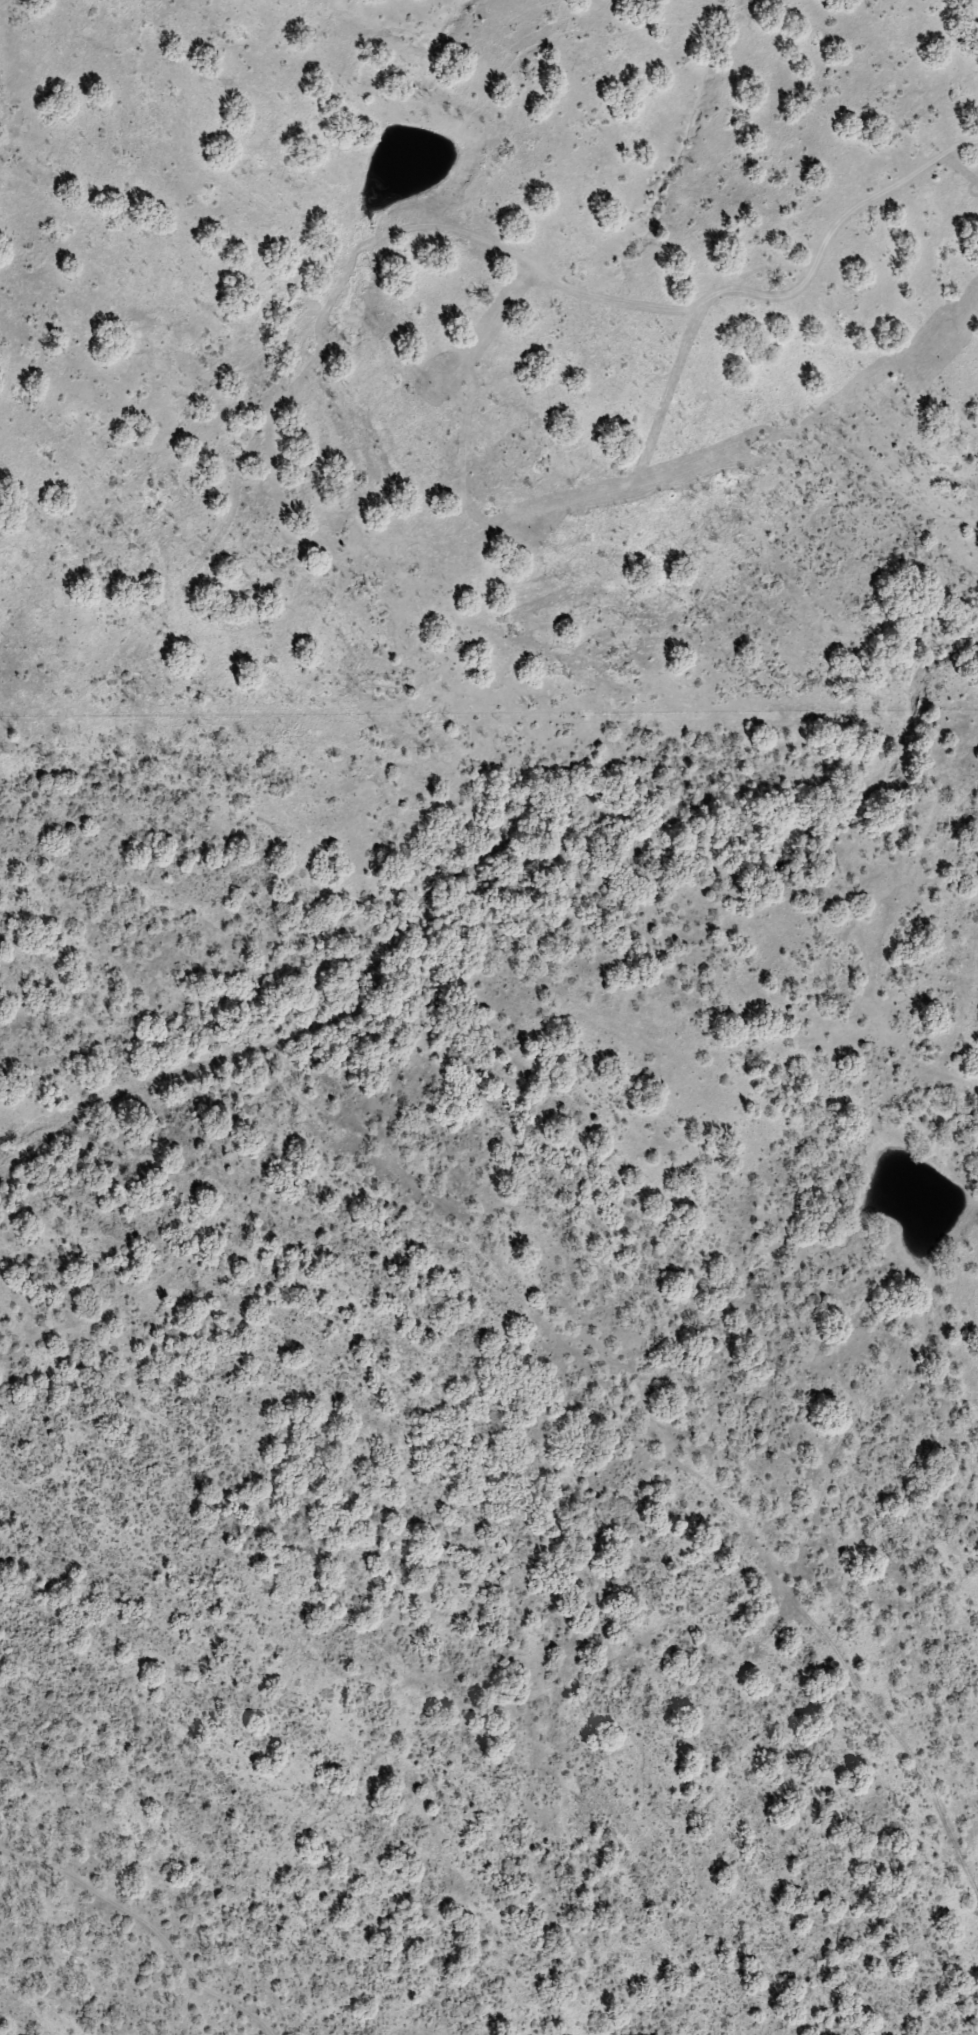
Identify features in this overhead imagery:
road: (768, 297)

